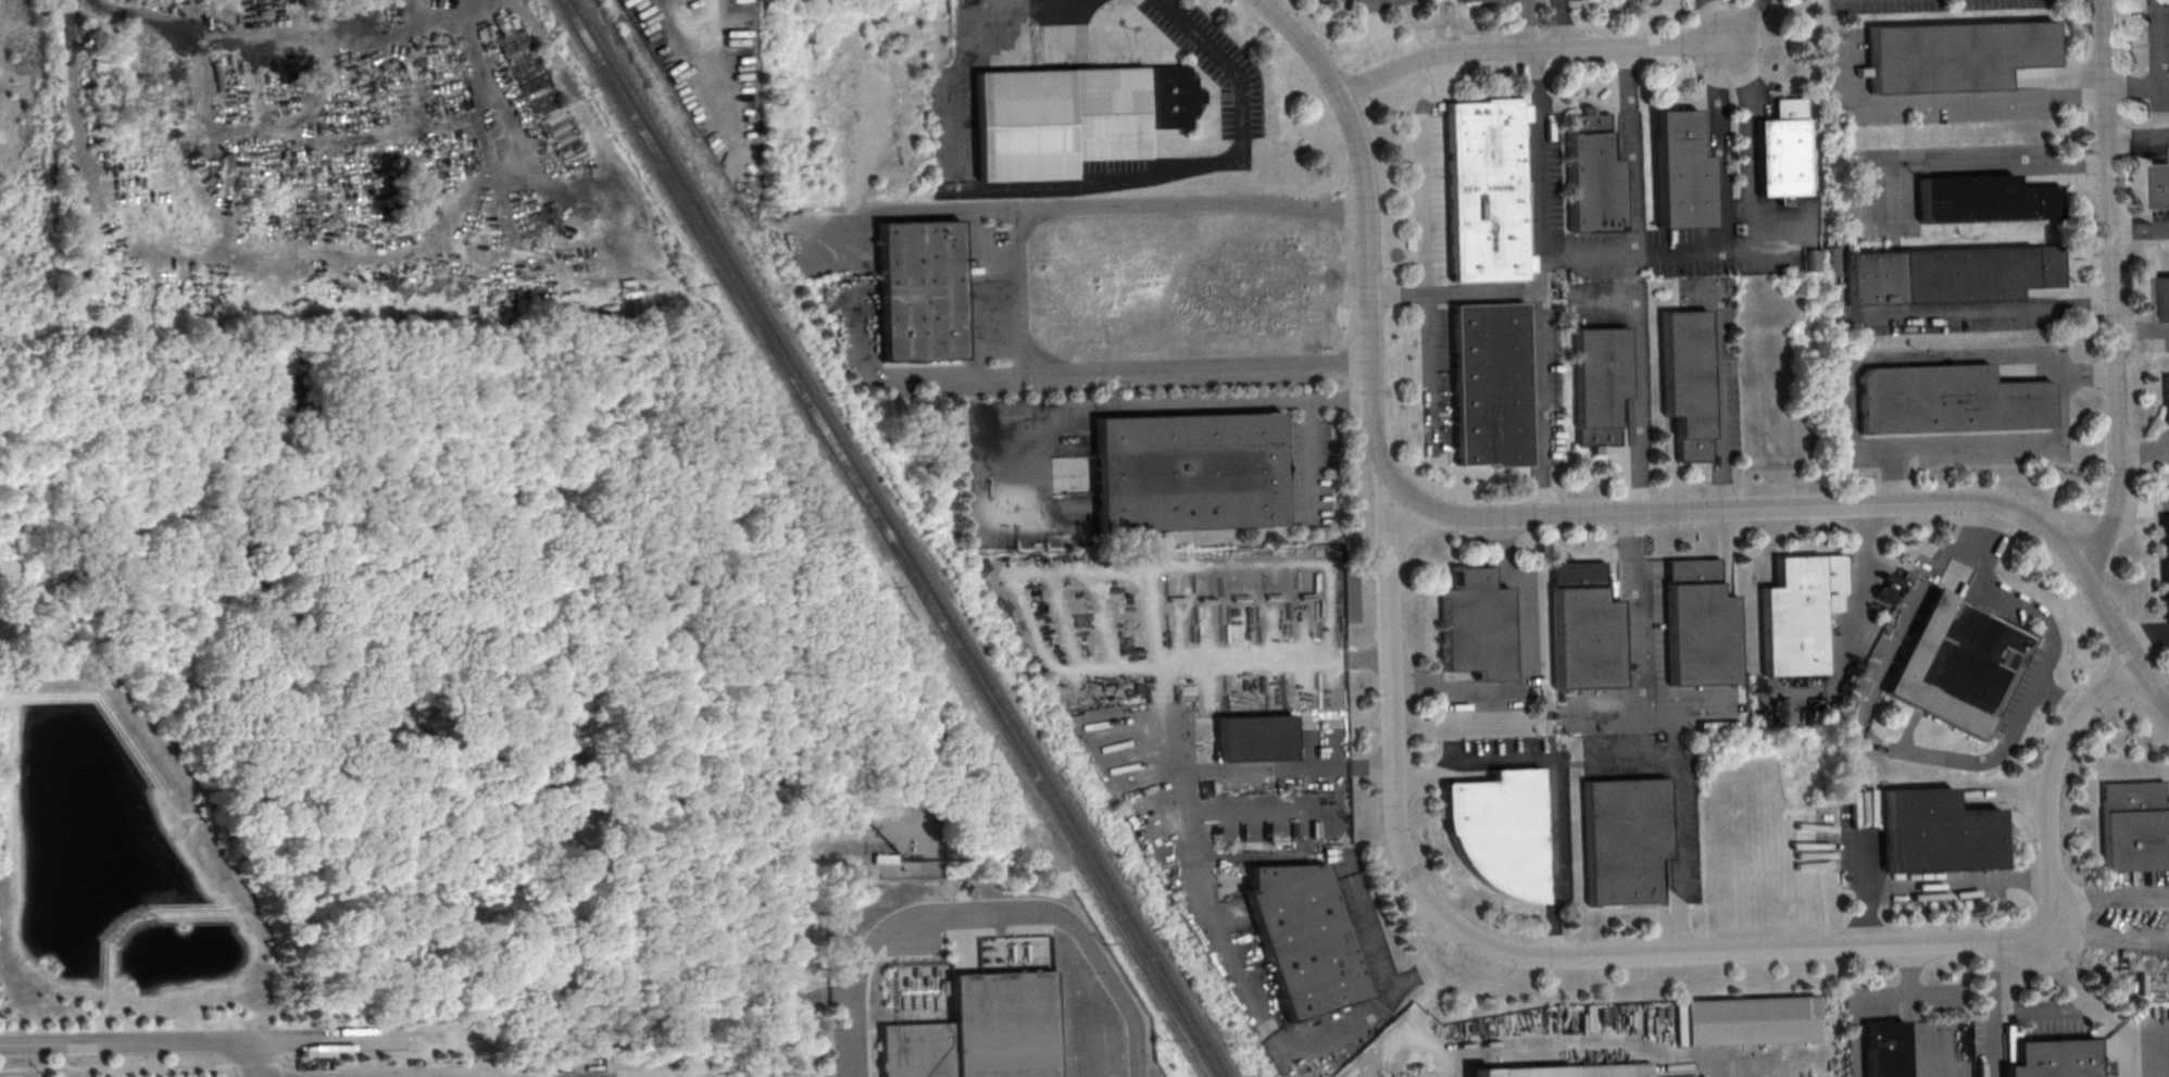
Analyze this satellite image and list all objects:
building: (1472, 0)
road: (996, 1)
parking lot: (1938, 4)
road: (1737, 21)
road: (1707, 22)
road: (1557, 25)
road: (1528, 26)
road: (2161, 49)
road: (1528, 52)
parking lot: (2158, 53)
building: (1954, 55)
road: (1730, 58)
road: (2140, 85)
parking lot: (1926, 93)
road: (1955, 102)
building: (1071, 117)
road: (1742, 139)
road: (1725, 141)
building: (1781, 151)
road: (1973, 163)
road: (1212, 166)
building: (1680, 172)
building: (1592, 184)
building: (2162, 185)
building: (1483, 191)
building: (1983, 199)
road: (2142, 233)
road: (1700, 253)
road: (1587, 256)
building: (1810, 260)
building: (1949, 273)
road: (1429, 281)
road: (1541, 283)
road: (1013, 288)
building: (919, 290)
road: (1455, 291)
road: (2118, 291)
building: (2165, 298)
road: (1988, 314)
road: (2144, 334)
road: (1894, 359)
building: (1685, 381)
building: (1489, 385)
building: (1600, 386)
building: (2166, 399)
building: (1947, 400)
road: (1200, 402)
road: (1718, 402)
road: (1308, 422)
road: (2009, 442)
building: (1188, 471)
road: (1569, 515)
road: (1635, 518)
railway: (889, 538)
railway: (902, 538)
road: (1964, 546)
road: (1864, 552)
building: (2166, 562)
road: (2024, 611)
building: (1800, 614)
building: (1698, 624)
building: (1476, 627)
building: (1583, 628)
building: (1957, 663)
road: (1526, 668)
road: (1646, 710)
road: (1162, 712)
building: (1262, 739)
road: (2001, 753)
road: (1549, 779)
building: (2134, 826)
building: (1500, 831)
building: (1935, 832)
building: (1623, 839)
road: (841, 848)
building: (881, 859)
road: (1931, 885)
road: (2109, 898)
road: (986, 912)
road: (1214, 913)
building: (1303, 940)
road: (792, 949)
road: (1662, 954)
road: (825, 997)
road: (2045, 1009)
road: (1909, 1011)
road: (1413, 1013)
building: (1744, 1020)
building: (980, 1032)
road: (197, 1045)
building: (1883, 1049)
building: (2052, 1059)
road: (255, 1061)
building: (1565, 1070)

